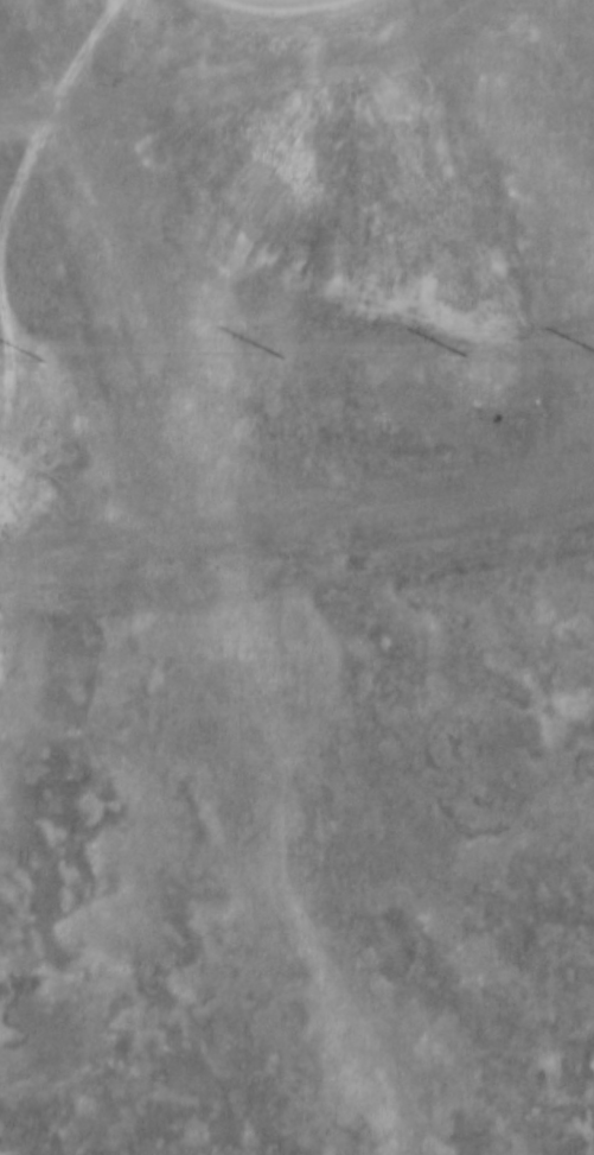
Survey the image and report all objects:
quarry: (350, 153)
quarry: (30, 482)

